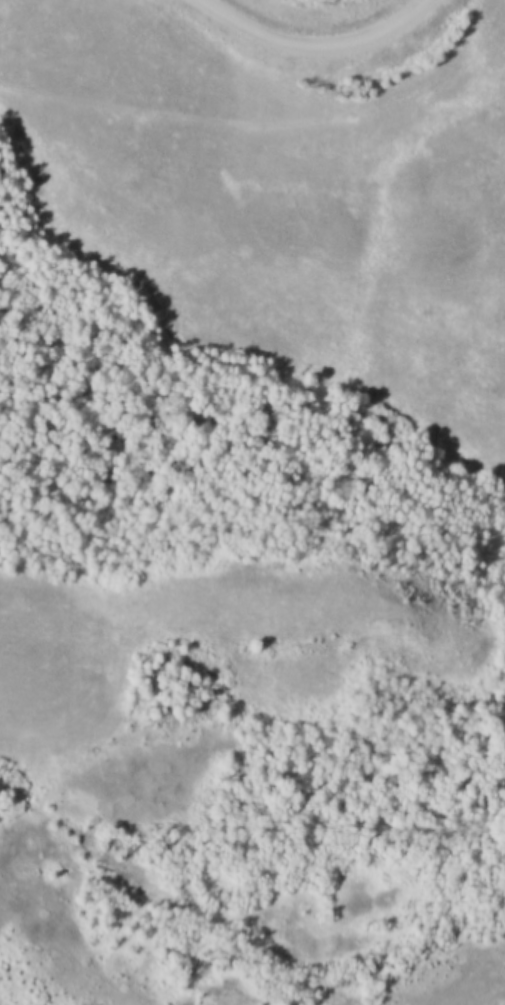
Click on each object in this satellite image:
road: (264, 131)

